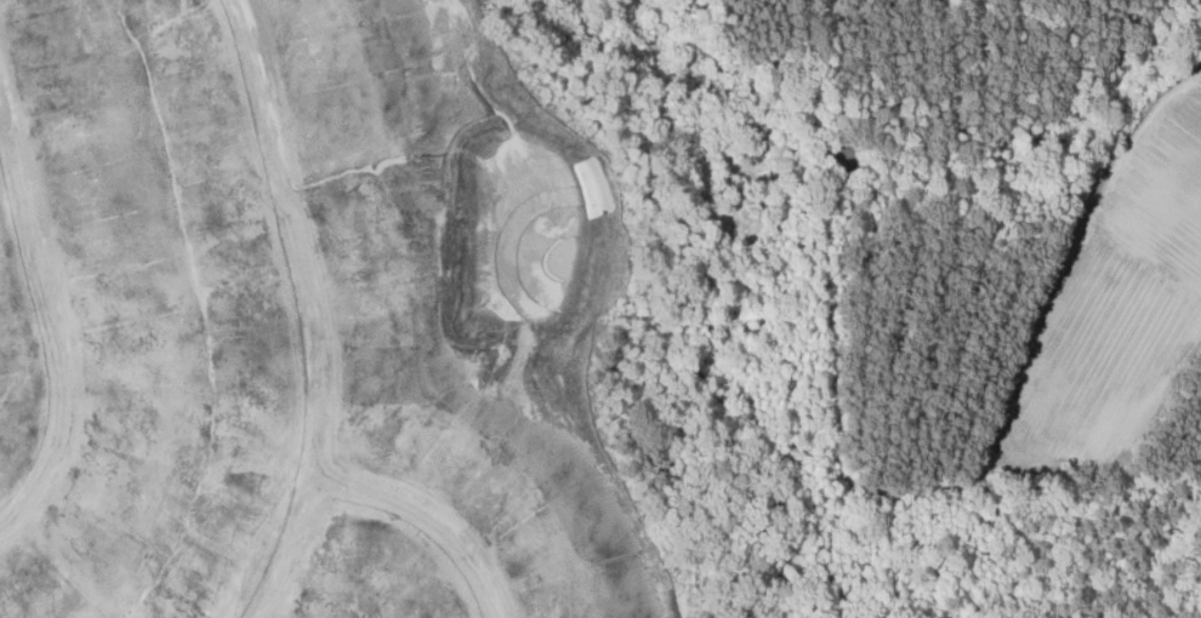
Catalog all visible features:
road: (309, 310)
road: (51, 322)
building: (315, 419)
road: (429, 521)
building: (303, 578)

